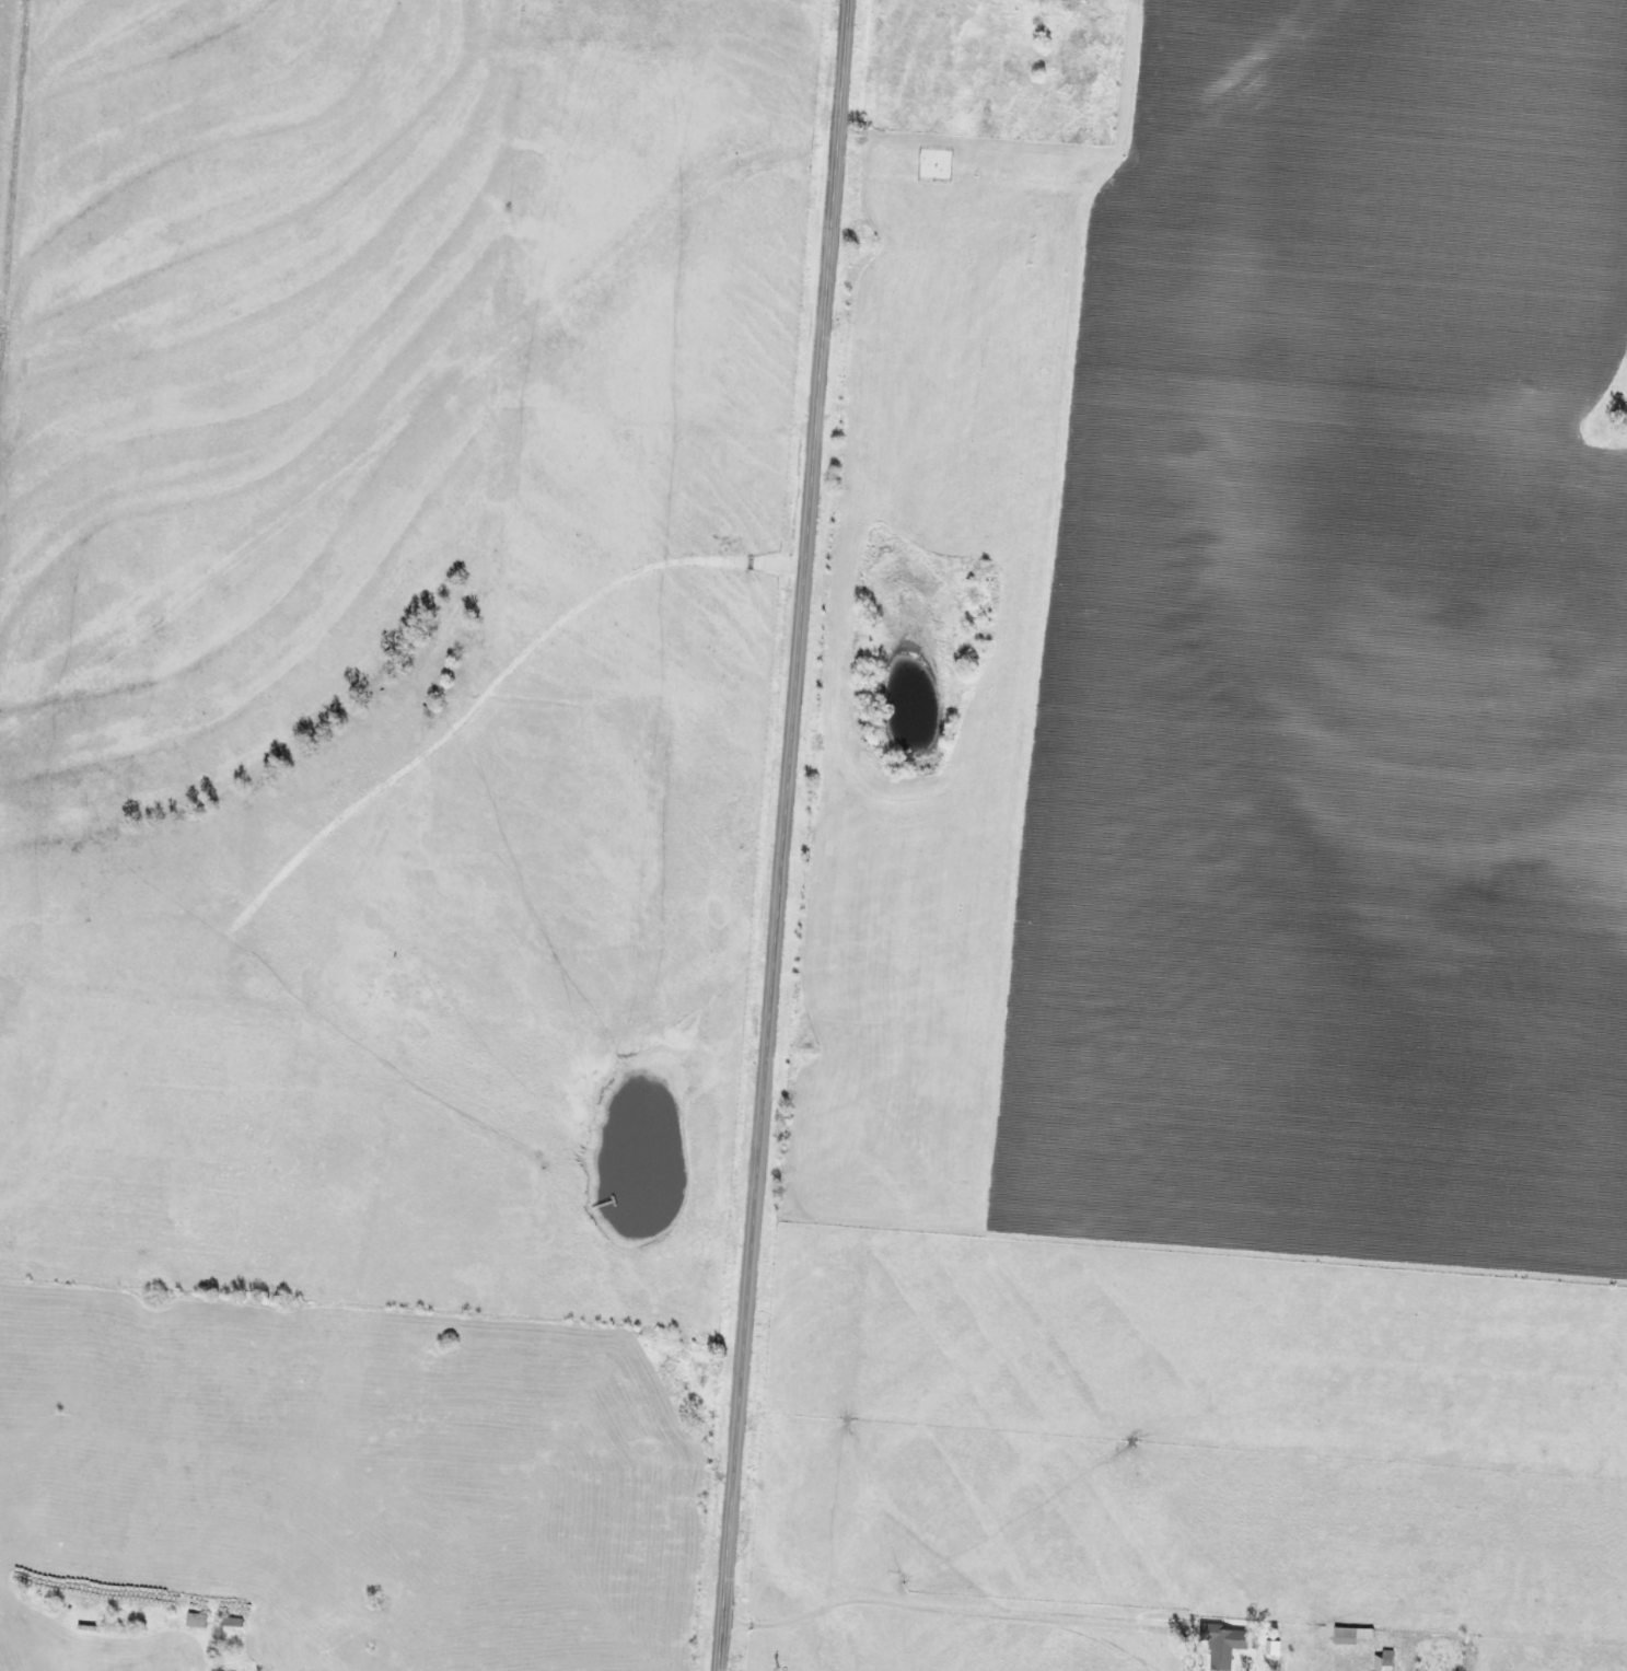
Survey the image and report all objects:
road: (786, 835)
road: (937, 1599)
building: (230, 1622)
building: (217, 1632)
building: (1349, 1635)
building: (1221, 1644)
building: (1271, 1647)
building: (1382, 1661)

